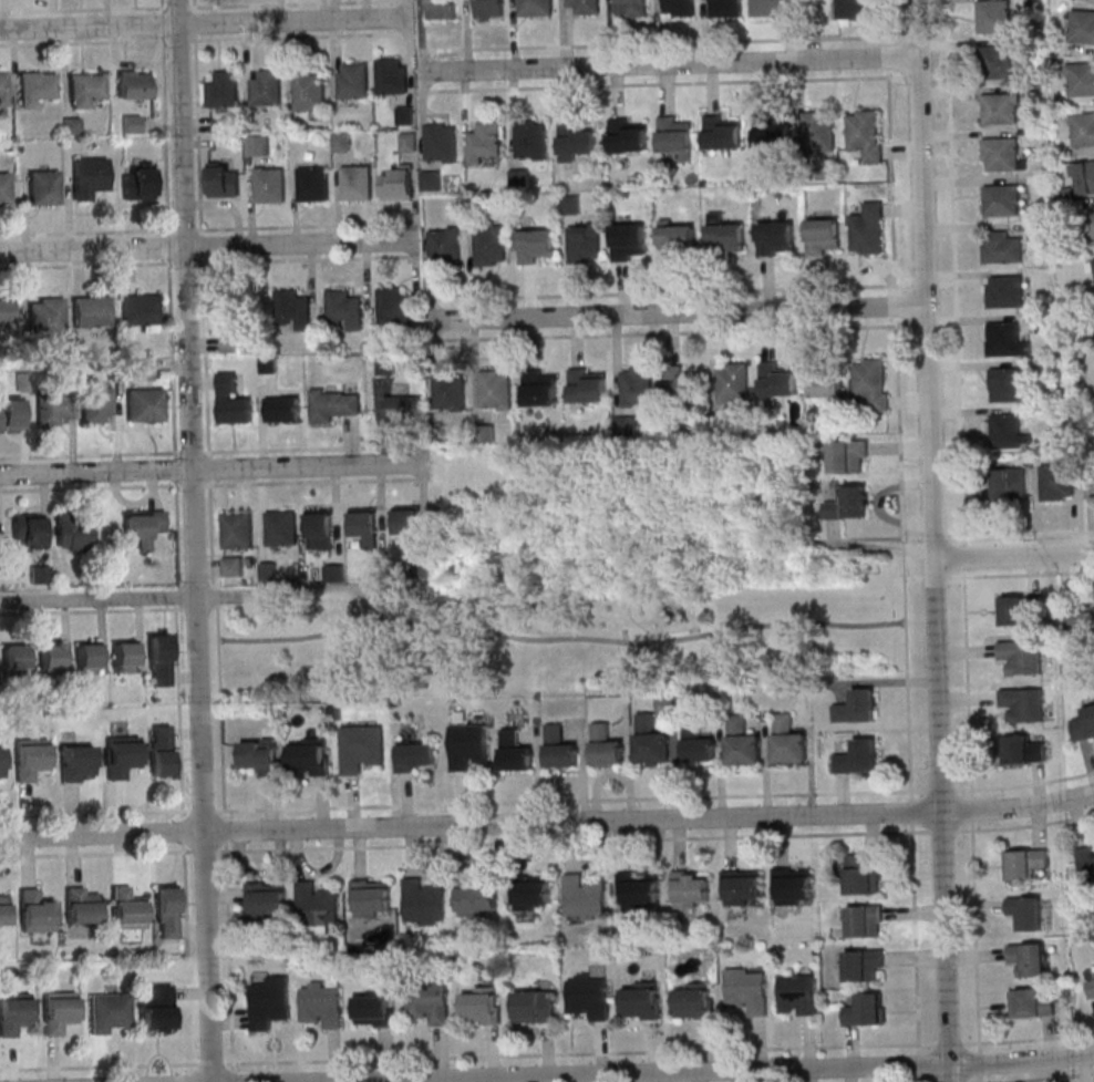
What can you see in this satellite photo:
road: (161, 4)
road: (193, 4)
road: (204, 6)
building: (585, 7)
building: (679, 7)
building: (488, 8)
building: (535, 8)
building: (631, 8)
building: (724, 8)
building: (771, 8)
building: (441, 9)
building: (848, 9)
building: (993, 16)
road: (206, 22)
building: (1082, 27)
road: (938, 32)
road: (918, 33)
road: (204, 39)
road: (663, 42)
building: (994, 62)
road: (668, 63)
road: (939, 74)
road: (916, 75)
building: (391, 76)
building: (1080, 79)
building: (353, 81)
road: (662, 83)
building: (133, 84)
building: (34, 87)
building: (266, 87)
building: (2, 90)
building: (84, 90)
building: (223, 90)
building: (309, 90)
building: (999, 107)
building: (405, 115)
road: (165, 123)
building: (131, 125)
building: (70, 126)
building: (1083, 128)
building: (770, 131)
building: (818, 131)
building: (719, 133)
building: (866, 133)
building: (673, 135)
building: (626, 136)
building: (530, 140)
building: (484, 141)
building: (575, 141)
building: (341, 142)
building: (407, 142)
building: (441, 142)
building: (260, 145)
building: (1000, 154)
building: (1085, 176)
building: (87, 177)
building: (518, 178)
building: (223, 179)
building: (429, 179)
building: (357, 183)
building: (312, 184)
building: (399, 184)
building: (136, 185)
building: (269, 185)
building: (42, 188)
building: (4, 190)
building: (1001, 199)
building: (569, 204)
building: (1090, 226)
road: (209, 228)
building: (867, 228)
road: (200, 231)
building: (725, 234)
building: (824, 236)
building: (776, 238)
building: (677, 239)
building: (629, 241)
building: (444, 243)
building: (584, 243)
road: (209, 245)
building: (489, 245)
building: (536, 245)
building: (1001, 247)
road: (209, 261)
building: (1092, 267)
road: (925, 284)
road: (947, 284)
road: (667, 290)
building: (1004, 291)
building: (228, 307)
building: (395, 308)
building: (292, 309)
building: (343, 309)
building: (138, 311)
building: (90, 312)
building: (6, 313)
road: (677, 313)
building: (47, 317)
road: (656, 332)
building: (1004, 340)
building: (268, 364)
road: (172, 369)
building: (143, 371)
building: (824, 380)
building: (776, 382)
building: (733, 383)
building: (680, 384)
building: (869, 384)
building: (1007, 385)
building: (586, 387)
building: (636, 387)
building: (540, 388)
building: (448, 391)
building: (494, 391)
building: (233, 400)
building: (333, 403)
building: (94, 404)
building: (52, 405)
building: (144, 406)
building: (402, 408)
building: (282, 409)
building: (10, 415)
building: (1008, 432)
road: (288, 450)
road: (104, 455)
building: (848, 455)
road: (213, 467)
road: (318, 482)
building: (1056, 482)
building: (1010, 484)
building: (1093, 486)
road: (104, 487)
building: (848, 503)
building: (407, 523)
building: (364, 526)
building: (143, 527)
building: (280, 529)
building: (320, 529)
building: (28, 530)
building: (72, 532)
building: (237, 532)
road: (1020, 533)
road: (177, 534)
road: (933, 536)
road: (868, 537)
road: (194, 540)
road: (902, 540)
road: (932, 540)
road: (963, 540)
road: (1013, 556)
building: (233, 566)
building: (423, 567)
building: (269, 570)
building: (333, 573)
road: (1020, 574)
building: (40, 575)
road: (933, 577)
road: (912, 578)
park: (585, 586)
road: (99, 599)
building: (1016, 610)
building: (1081, 618)
road: (176, 621)
road: (561, 641)
building: (52, 656)
building: (1022, 656)
building: (125, 657)
building: (89, 658)
building: (159, 659)
building: (14, 660)
building: (1023, 703)
building: (857, 707)
building: (1085, 724)
building: (650, 741)
building: (787, 742)
building: (742, 743)
building: (696, 744)
building: (467, 745)
building: (605, 746)
building: (360, 748)
building: (1024, 748)
building: (558, 749)
building: (161, 752)
building: (515, 753)
building: (260, 754)
building: (415, 755)
building: (121, 756)
building: (310, 756)
building: (858, 756)
building: (29, 759)
building: (75, 763)
building: (0, 764)
road: (221, 766)
road: (460, 797)
road: (351, 801)
road: (567, 801)
road: (91, 813)
road: (547, 822)
road: (506, 843)
road: (411, 852)
road: (145, 853)
building: (1086, 861)
building: (1025, 863)
building: (863, 873)
building: (740, 887)
building: (792, 887)
building: (638, 890)
building: (688, 890)
building: (528, 892)
building: (371, 897)
building: (476, 898)
building: (584, 898)
building: (266, 899)
building: (423, 901)
building: (317, 905)
building: (81, 907)
building: (125, 910)
building: (2, 911)
building: (167, 911)
building: (1025, 911)
building: (34, 913)
building: (865, 920)
building: (1029, 958)
building: (864, 965)
building: (1091, 986)
building: (747, 989)
road: (190, 992)
building: (797, 993)
building: (588, 996)
building: (694, 999)
building: (427, 1000)
building: (641, 1000)
building: (268, 1002)
building: (1031, 1003)
building: (320, 1006)
building: (374, 1008)
building: (535, 1008)
building: (482, 1009)
building: (866, 1009)
building: (157, 1011)
building: (58, 1012)
building: (109, 1012)
building: (13, 1013)
road: (547, 1053)
road: (99, 1059)
road: (720, 1071)
road: (192, 1073)

